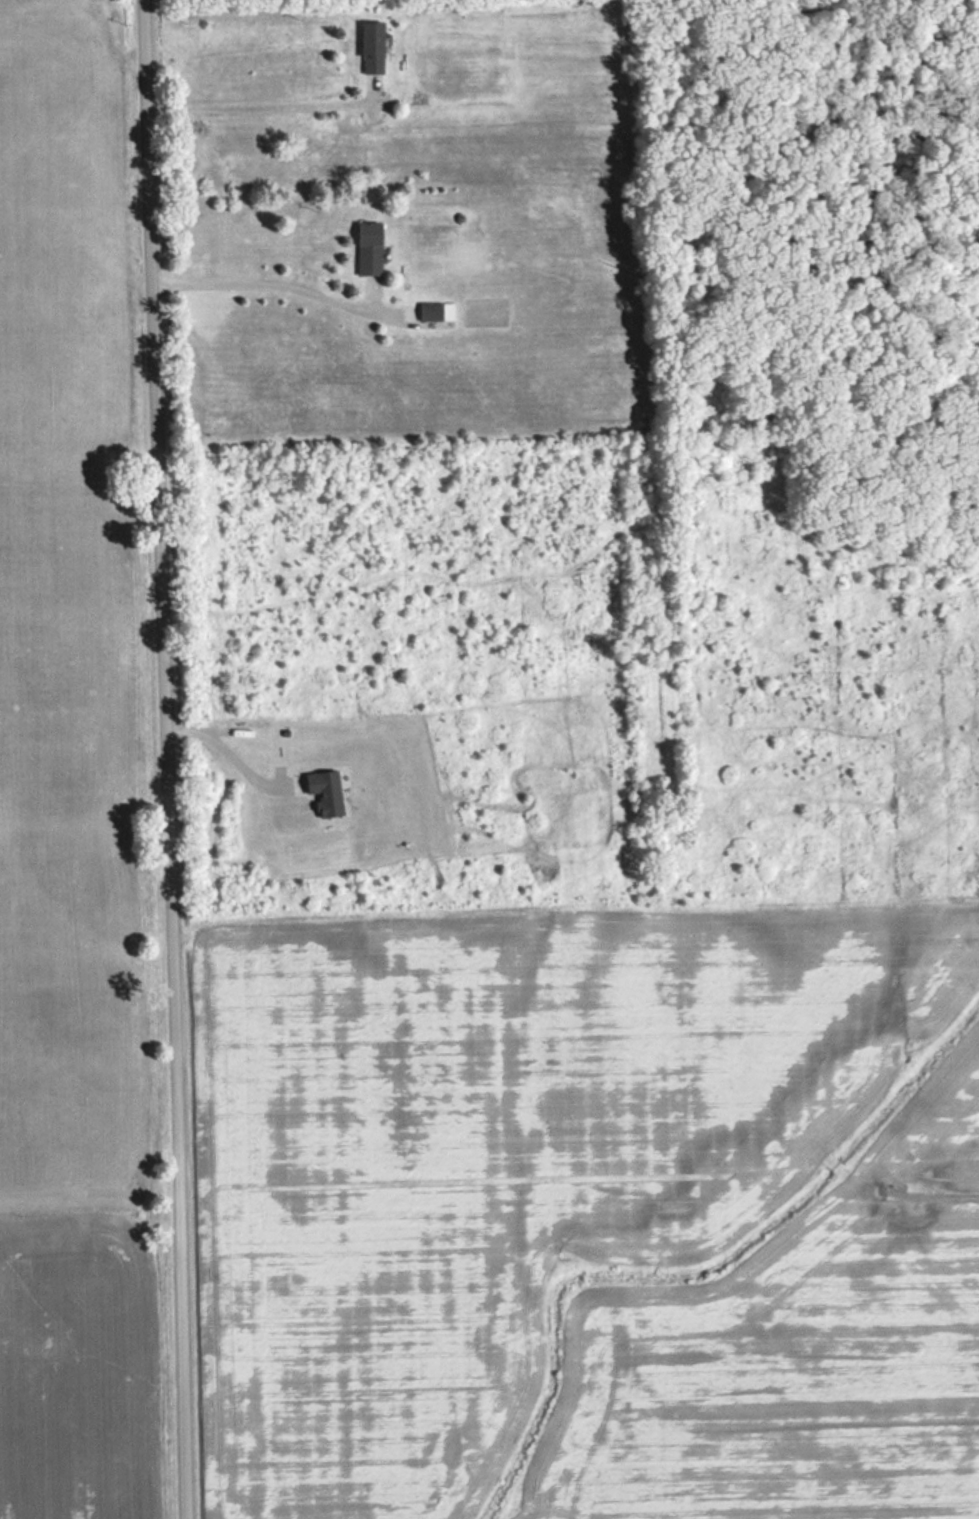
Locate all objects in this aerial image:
building: (378, 49)
road: (260, 101)
building: (375, 249)
road: (279, 280)
building: (436, 312)
road: (222, 753)
road: (159, 759)
road: (321, 917)

